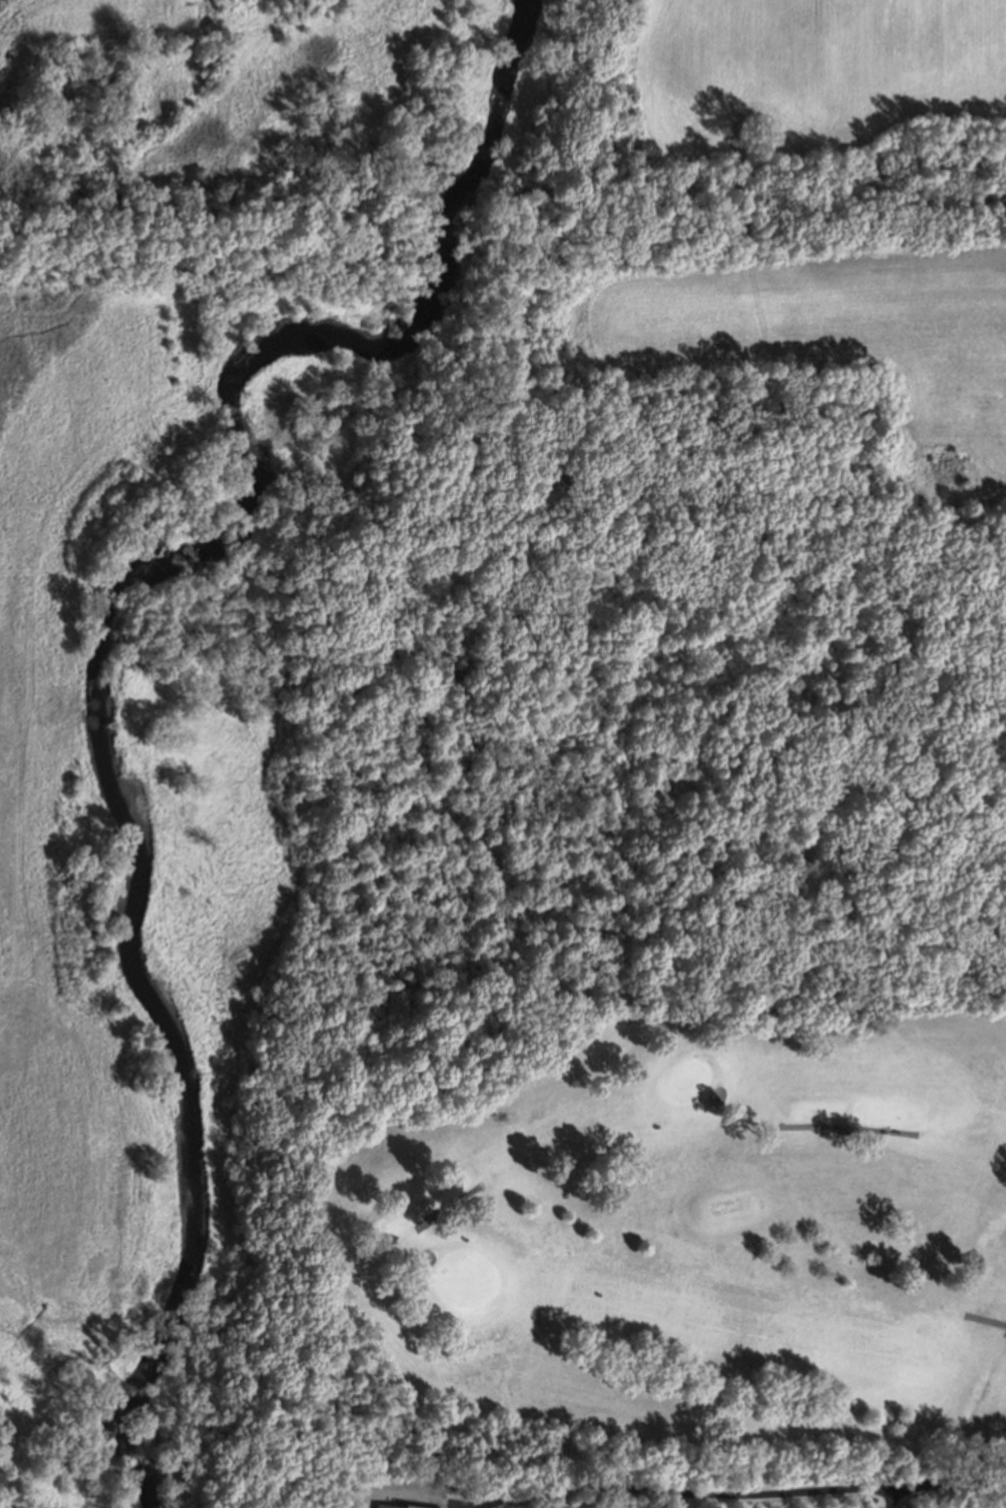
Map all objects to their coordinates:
river: (254, 452)
road: (848, 1129)
road: (449, 1203)
park: (643, 1237)
road: (986, 1319)
river: (165, 1471)
road: (739, 1493)
road: (893, 1496)
building: (377, 1507)

